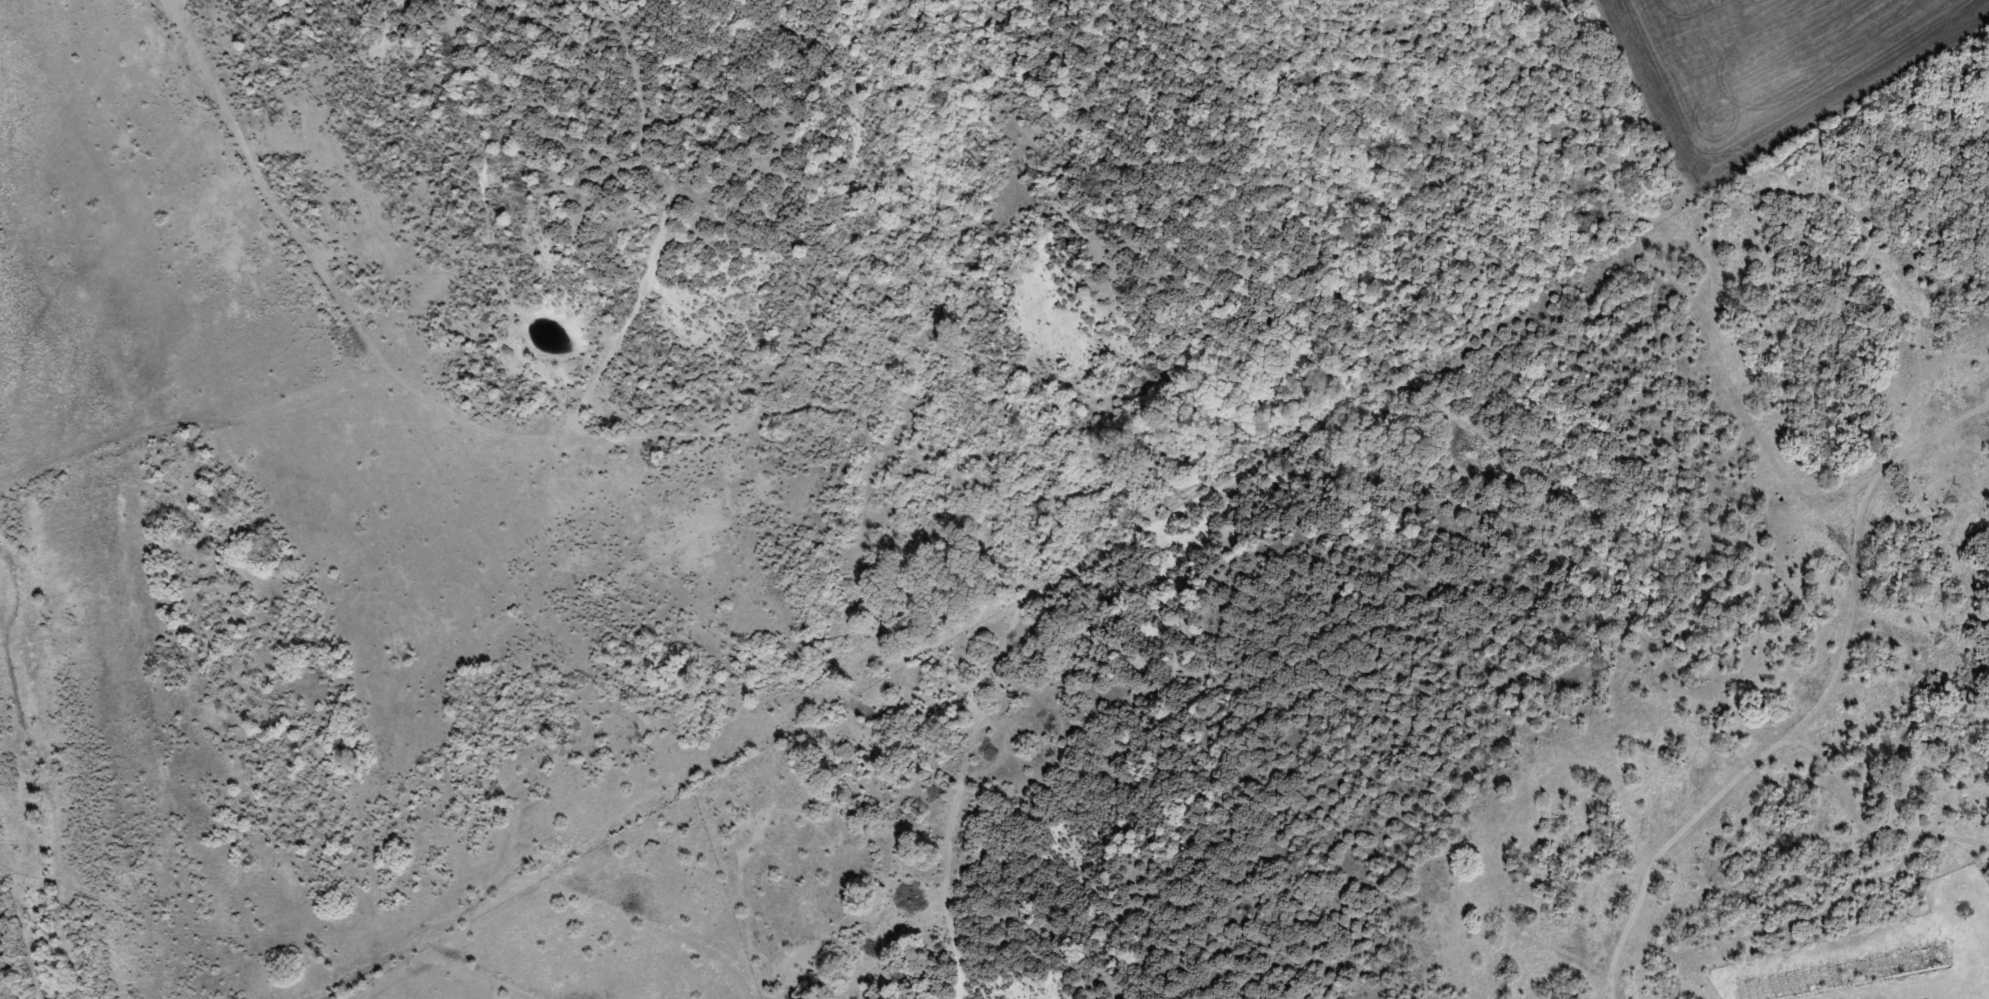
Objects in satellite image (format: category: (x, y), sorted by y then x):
building: (1894, 965)
building: (1781, 986)

